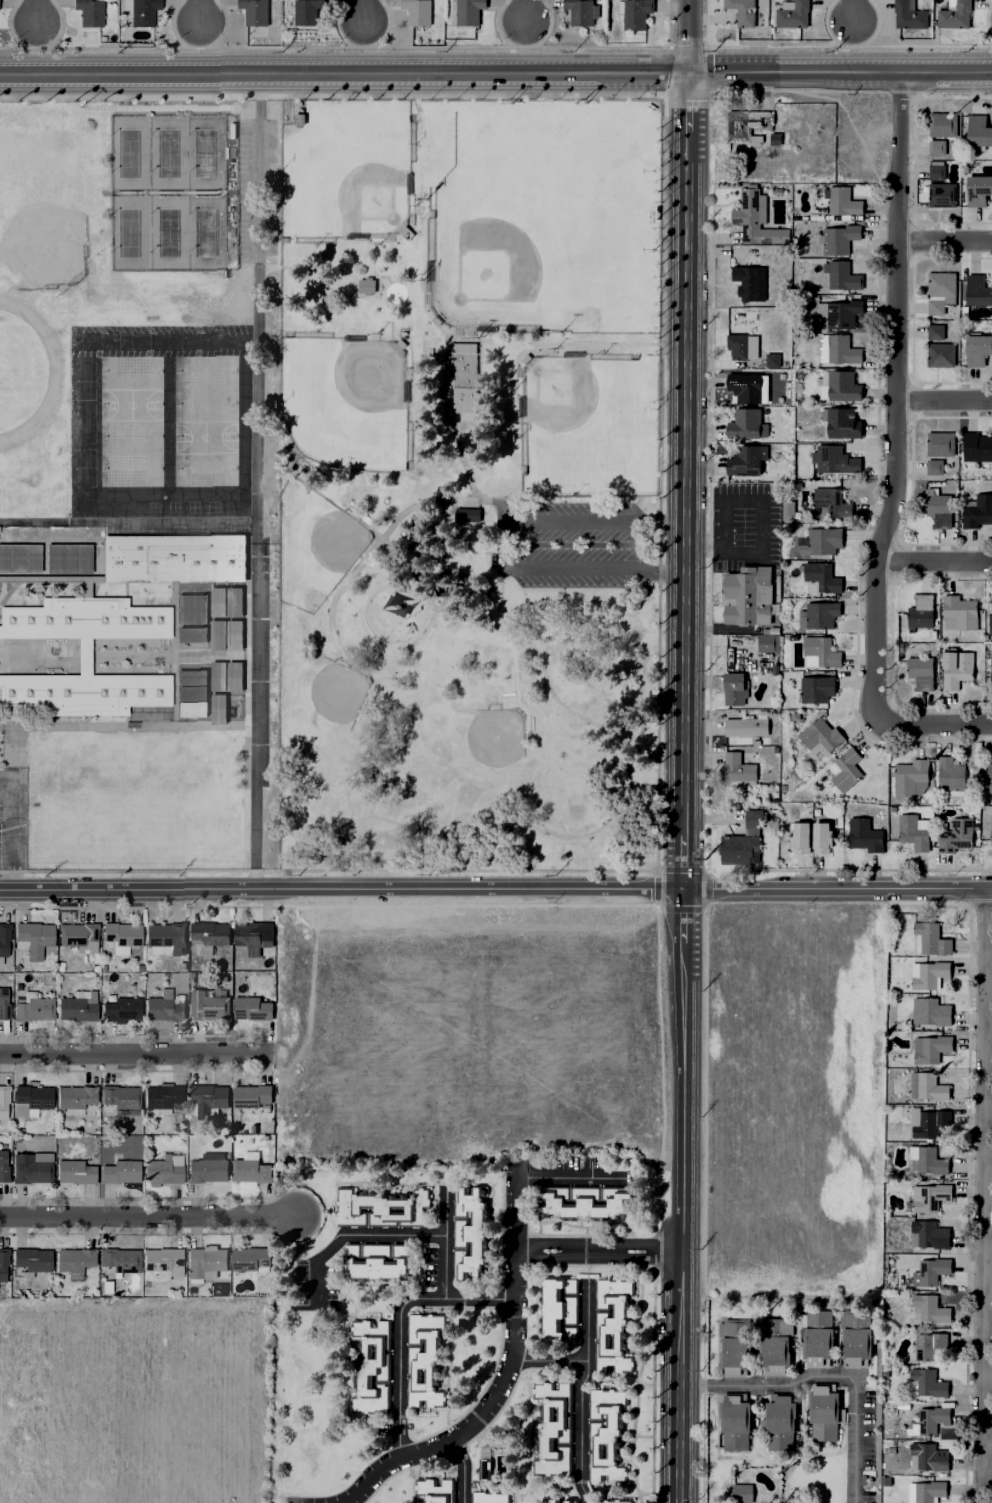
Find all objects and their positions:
building: (141, 11)
building: (257, 11)
building: (581, 11)
building: (306, 12)
building: (469, 12)
road: (36, 13)
road: (360, 13)
road: (520, 13)
building: (636, 13)
road: (199, 14)
road: (850, 14)
building: (418, 15)
building: (910, 15)
building: (956, 15)
building: (743, 17)
building: (98, 18)
building: (792, 20)
road: (686, 35)
road: (947, 69)
road: (794, 70)
road: (342, 71)
road: (685, 102)
building: (299, 119)
building: (748, 124)
building: (943, 125)
building: (979, 131)
building: (773, 138)
building: (937, 148)
park: (130, 153)
park: (168, 153)
park: (207, 153)
building: (937, 172)
park: (350, 177)
parking lot: (257, 189)
building: (979, 191)
road: (172, 193)
road: (245, 193)
building: (943, 195)
building: (843, 202)
park: (543, 215)
building: (756, 219)
park: (206, 232)
park: (130, 233)
park: (169, 233)
building: (404, 233)
park: (47, 239)
building: (841, 239)
road: (944, 242)
road: (374, 257)
road: (355, 277)
building: (842, 277)
building: (749, 279)
building: (942, 285)
building: (366, 286)
building: (978, 290)
road: (377, 296)
building: (936, 307)
building: (840, 315)
building: (435, 320)
road: (436, 326)
building: (941, 332)
park: (99, 340)
park: (148, 340)
park: (198, 340)
road: (472, 342)
building: (400, 346)
building: (739, 347)
building: (842, 350)
building: (979, 350)
building: (942, 355)
building: (524, 356)
building: (773, 361)
park: (132, 373)
park: (205, 373)
track: (54, 378)
building: (464, 379)
park: (84, 380)
building: (843, 386)
building: (745, 388)
road: (895, 399)
park: (345, 402)
road: (943, 403)
park: (131, 405)
park: (205, 405)
park: (573, 409)
park: (83, 424)
building: (843, 424)
building: (744, 425)
park: (131, 438)
park: (205, 438)
building: (941, 445)
building: (978, 447)
building: (834, 460)
building: (744, 461)
park: (84, 467)
building: (936, 467)
park: (131, 470)
park: (205, 470)
road: (659, 479)
road: (256, 482)
park: (467, 484)
road: (761, 503)
building: (833, 504)
building: (941, 511)
building: (794, 512)
building: (978, 512)
road: (684, 513)
building: (467, 516)
road: (128, 521)
park: (320, 541)
building: (823, 542)
parking lot: (575, 545)
road: (374, 546)
road: (503, 546)
road: (704, 548)
building: (19, 557)
building: (68, 557)
building: (173, 559)
road: (933, 563)
building: (823, 577)
building: (51, 579)
building: (448, 591)
building: (751, 597)
road: (499, 598)
building: (233, 602)
building: (216, 603)
road: (362, 609)
building: (190, 610)
building: (922, 612)
building: (963, 612)
building: (820, 616)
road: (174, 618)
building: (41, 619)
building: (127, 619)
building: (991, 624)
building: (191, 635)
building: (216, 636)
building: (233, 636)
building: (767, 644)
building: (84, 648)
building: (823, 651)
road: (161, 655)
road: (131, 656)
road: (171, 657)
building: (958, 670)
building: (990, 671)
building: (922, 673)
building: (216, 677)
building: (233, 677)
building: (191, 678)
building: (736, 686)
building: (819, 691)
building: (128, 692)
building: (41, 693)
building: (191, 693)
road: (639, 694)
road: (246, 696)
park: (321, 702)
building: (191, 709)
building: (217, 709)
building: (819, 714)
road: (114, 726)
road: (932, 726)
building: (748, 727)
road: (605, 731)
building: (821, 739)
road: (363, 742)
park: (484, 748)
building: (738, 769)
building: (846, 771)
building: (911, 777)
building: (952, 777)
building: (989, 779)
parking lot: (13, 818)
building: (990, 829)
road: (14, 834)
building: (914, 834)
building: (865, 837)
building: (957, 837)
building: (801, 839)
building: (823, 840)
building: (745, 842)
road: (625, 852)
road: (496, 892)
road: (682, 918)
building: (78, 929)
building: (251, 929)
building: (122, 933)
building: (210, 933)
building: (34, 935)
building: (166, 935)
building: (928, 936)
building: (4, 937)
building: (926, 971)
building: (3, 999)
building: (78, 1003)
building: (207, 1003)
building: (34, 1004)
building: (164, 1004)
building: (120, 1005)
building: (251, 1006)
building: (932, 1009)
building: (927, 1045)
road: (133, 1054)
building: (924, 1083)
building: (248, 1094)
building: (117, 1095)
building: (162, 1095)
building: (72, 1096)
building: (29, 1097)
building: (2, 1098)
building: (205, 1098)
building: (926, 1119)
building: (2, 1155)
building: (924, 1157)
building: (28, 1165)
building: (205, 1165)
building: (247, 1166)
building: (161, 1167)
building: (72, 1168)
building: (118, 1168)
road: (561, 1177)
building: (928, 1194)
road: (984, 1196)
building: (585, 1204)
building: (382, 1207)
road: (443, 1213)
road: (147, 1216)
road: (678, 1223)
building: (929, 1229)
building: (470, 1233)
road: (597, 1251)
building: (159, 1255)
building: (117, 1256)
building: (247, 1256)
building: (29, 1257)
building: (71, 1257)
building: (203, 1260)
building: (1, 1261)
building: (377, 1262)
building: (931, 1266)
road: (443, 1275)
road: (479, 1298)
building: (928, 1306)
building: (558, 1309)
building: (611, 1323)
building: (853, 1337)
building: (815, 1338)
building: (929, 1344)
building: (772, 1345)
building: (732, 1347)
building: (423, 1360)
road: (549, 1361)
building: (373, 1367)
road: (507, 1375)
road: (825, 1378)
building: (924, 1381)
road: (578, 1392)
building: (823, 1414)
building: (926, 1418)
building: (733, 1420)
building: (776, 1423)
building: (551, 1428)
building: (606, 1436)
building: (926, 1455)
road: (461, 1470)
building: (483, 1470)
building: (922, 1490)
building: (433, 1491)
building: (740, 1494)
building: (491, 1497)
building: (556, 1502)
building: (606, 1502)

